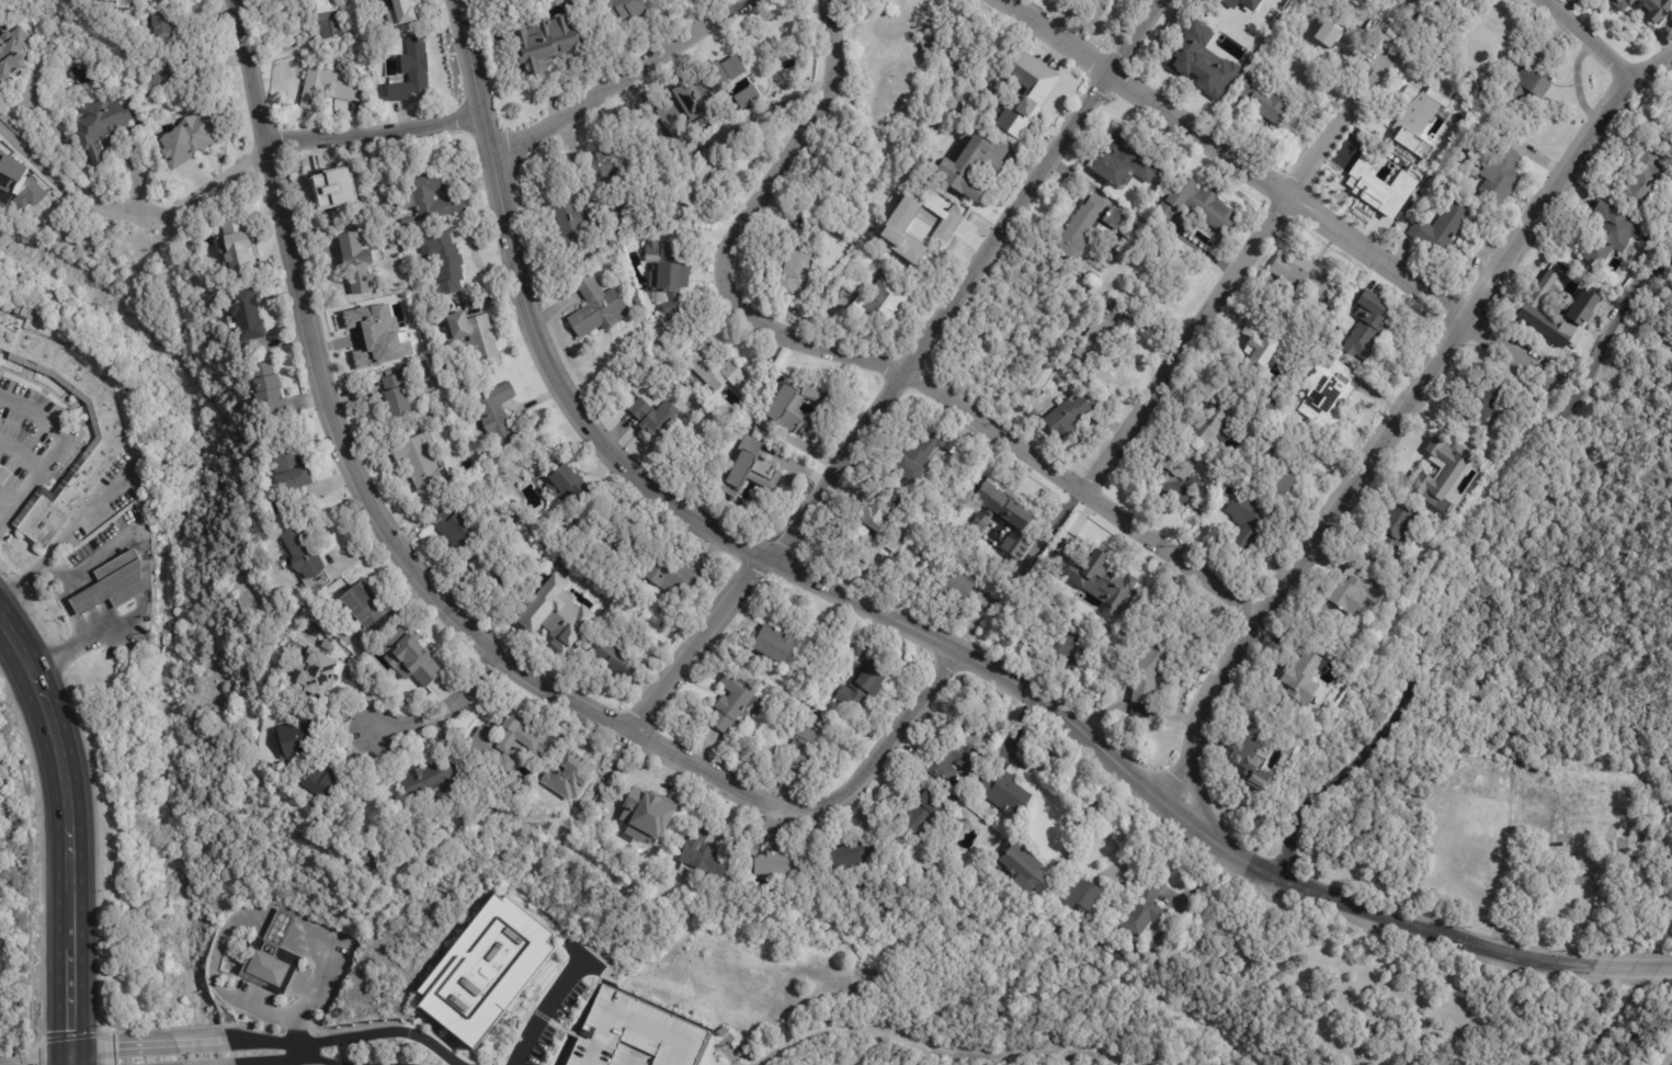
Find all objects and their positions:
building: (376, 0)
building: (1390, 0)
building: (1620, 3)
building: (403, 7)
building: (1239, 7)
building: (1108, 9)
building: (1656, 9)
building: (626, 10)
building: (327, 18)
building: (161, 23)
road: (1586, 38)
building: (543, 47)
building: (934, 52)
building: (12, 54)
building: (1208, 55)
building: (417, 64)
building: (173, 71)
road: (623, 79)
building: (1531, 84)
building: (321, 89)
building: (1025, 92)
building: (1265, 101)
building: (1671, 109)
building: (1412, 110)
building: (667, 112)
building: (99, 125)
road: (375, 133)
building: (190, 138)
road: (37, 143)
building: (1127, 160)
building: (974, 163)
building: (598, 166)
road: (38, 168)
building: (1499, 177)
building: (1646, 178)
road: (219, 181)
building: (695, 182)
building: (18, 184)
road: (1293, 190)
building: (1373, 192)
building: (333, 195)
building: (854, 196)
building: (430, 200)
building: (1203, 203)
road: (126, 207)
building: (1165, 212)
building: (575, 219)
building: (407, 225)
building: (946, 226)
building: (1090, 226)
building: (1444, 227)
building: (874, 229)
building: (905, 229)
building: (1610, 235)
building: (931, 241)
building: (237, 253)
building: (443, 261)
building: (355, 263)
road: (1239, 268)
building: (793, 271)
building: (1303, 273)
building: (669, 276)
building: (1094, 276)
building: (839, 284)
building: (882, 302)
building: (598, 308)
building: (244, 315)
building: (1554, 315)
building: (1370, 325)
building: (373, 332)
building: (1096, 338)
road: (1642, 338)
building: (474, 339)
building: (1262, 348)
building: (421, 351)
road: (861, 359)
building: (422, 366)
building: (718, 370)
road: (903, 373)
building: (264, 392)
building: (1329, 395)
building: (395, 396)
building: (1488, 399)
building: (789, 408)
building: (498, 415)
road: (1399, 415)
building: (655, 417)
building: (1066, 418)
building: (105, 421)
building: (1218, 423)
parking lot: (32, 431)
road: (23, 451)
road: (54, 453)
building: (918, 458)
building: (420, 463)
building: (749, 469)
building: (288, 471)
building: (1441, 476)
building: (1175, 480)
building: (1279, 480)
building: (566, 483)
road: (1591, 497)
road: (674, 509)
building: (1006, 518)
building: (868, 523)
building: (454, 524)
building: (1399, 526)
building: (986, 528)
building: (932, 530)
building: (1251, 531)
road: (67, 542)
building: (612, 548)
building: (302, 553)
building: (283, 557)
road: (1456, 560)
road: (87, 567)
road: (1629, 568)
building: (500, 576)
building: (673, 578)
building: (1094, 579)
building: (118, 582)
gas station: (118, 582)
building: (317, 582)
road: (79, 584)
building: (954, 588)
building: (1349, 598)
road: (88, 599)
road: (443, 601)
building: (359, 607)
building: (559, 621)
road: (113, 623)
building: (774, 641)
building: (363, 645)
building: (1060, 645)
building: (856, 649)
road: (67, 652)
building: (407, 655)
building: (608, 657)
building: (314, 670)
building: (1149, 675)
building: (1300, 676)
building: (1105, 677)
building: (863, 684)
building: (730, 701)
road: (447, 707)
building: (296, 739)
building: (489, 743)
building: (807, 745)
building: (955, 759)
building: (1253, 761)
building: (1284, 761)
building: (430, 782)
building: (566, 782)
building: (1, 783)
park: (1482, 783)
building: (322, 784)
building: (1, 790)
parking garage: (1, 790)
building: (1006, 793)
building: (1, 800)
road: (1195, 802)
road: (1088, 811)
building: (645, 813)
building: (923, 815)
building: (1648, 823)
road: (68, 832)
building: (1566, 834)
building: (703, 852)
building: (852, 853)
building: (369, 859)
building: (778, 862)
building: (1024, 866)
building: (1584, 882)
building: (1081, 893)
building: (1142, 908)
road: (1366, 911)
road: (280, 926)
road: (310, 938)
road: (218, 940)
building: (1136, 950)
building: (272, 955)
road: (1633, 970)
building: (485, 971)
road: (309, 998)
road: (546, 1006)
road: (263, 1011)
road: (1582, 1030)
traffic signals: (70, 1031)
building: (636, 1033)
parking garage: (636, 1033)
building: (724, 1033)
road: (346, 1038)
road: (201, 1042)
road: (939, 1043)
road: (121, 1045)
traffic signals: (116, 1046)
road: (302, 1052)
road: (287, 1061)
road: (34, 1063)
traffic signals: (35, 1063)
road: (70, 1063)
road: (75, 1063)
road: (275, 1063)
road: (226, 1064)

